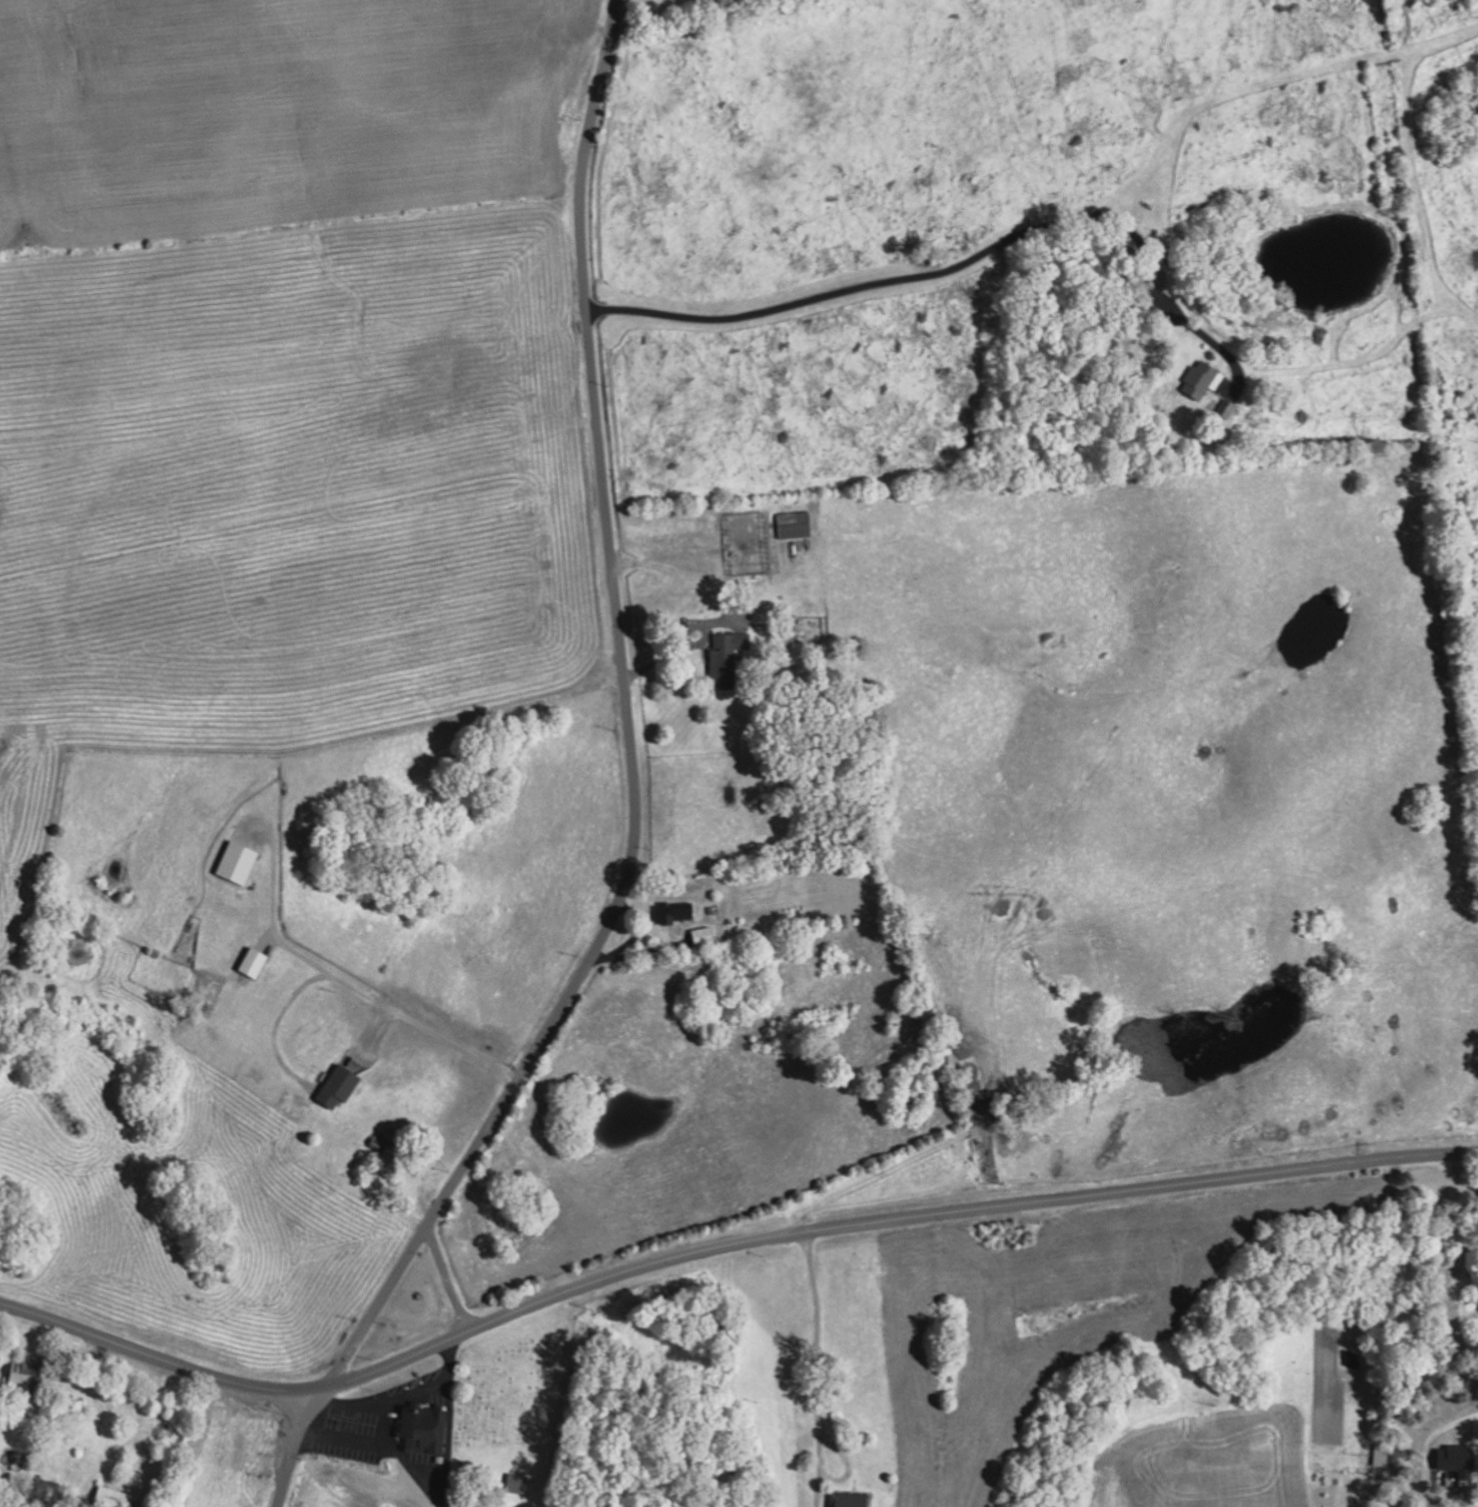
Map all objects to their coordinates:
road: (962, 264)
building: (1203, 379)
building: (1227, 408)
building: (728, 658)
road: (631, 797)
building: (239, 863)
building: (675, 912)
road: (269, 917)
building: (705, 936)
building: (255, 963)
road: (352, 992)
building: (340, 1087)
road: (723, 1247)
road: (812, 1371)
building: (23, 1374)
park: (516, 1397)
building: (426, 1428)
building: (1385, 1454)
road: (1425, 1458)
building: (1460, 1460)
road: (844, 1465)
building: (519, 1483)
building: (112, 1497)
building: (851, 1500)
building: (390, 1502)

